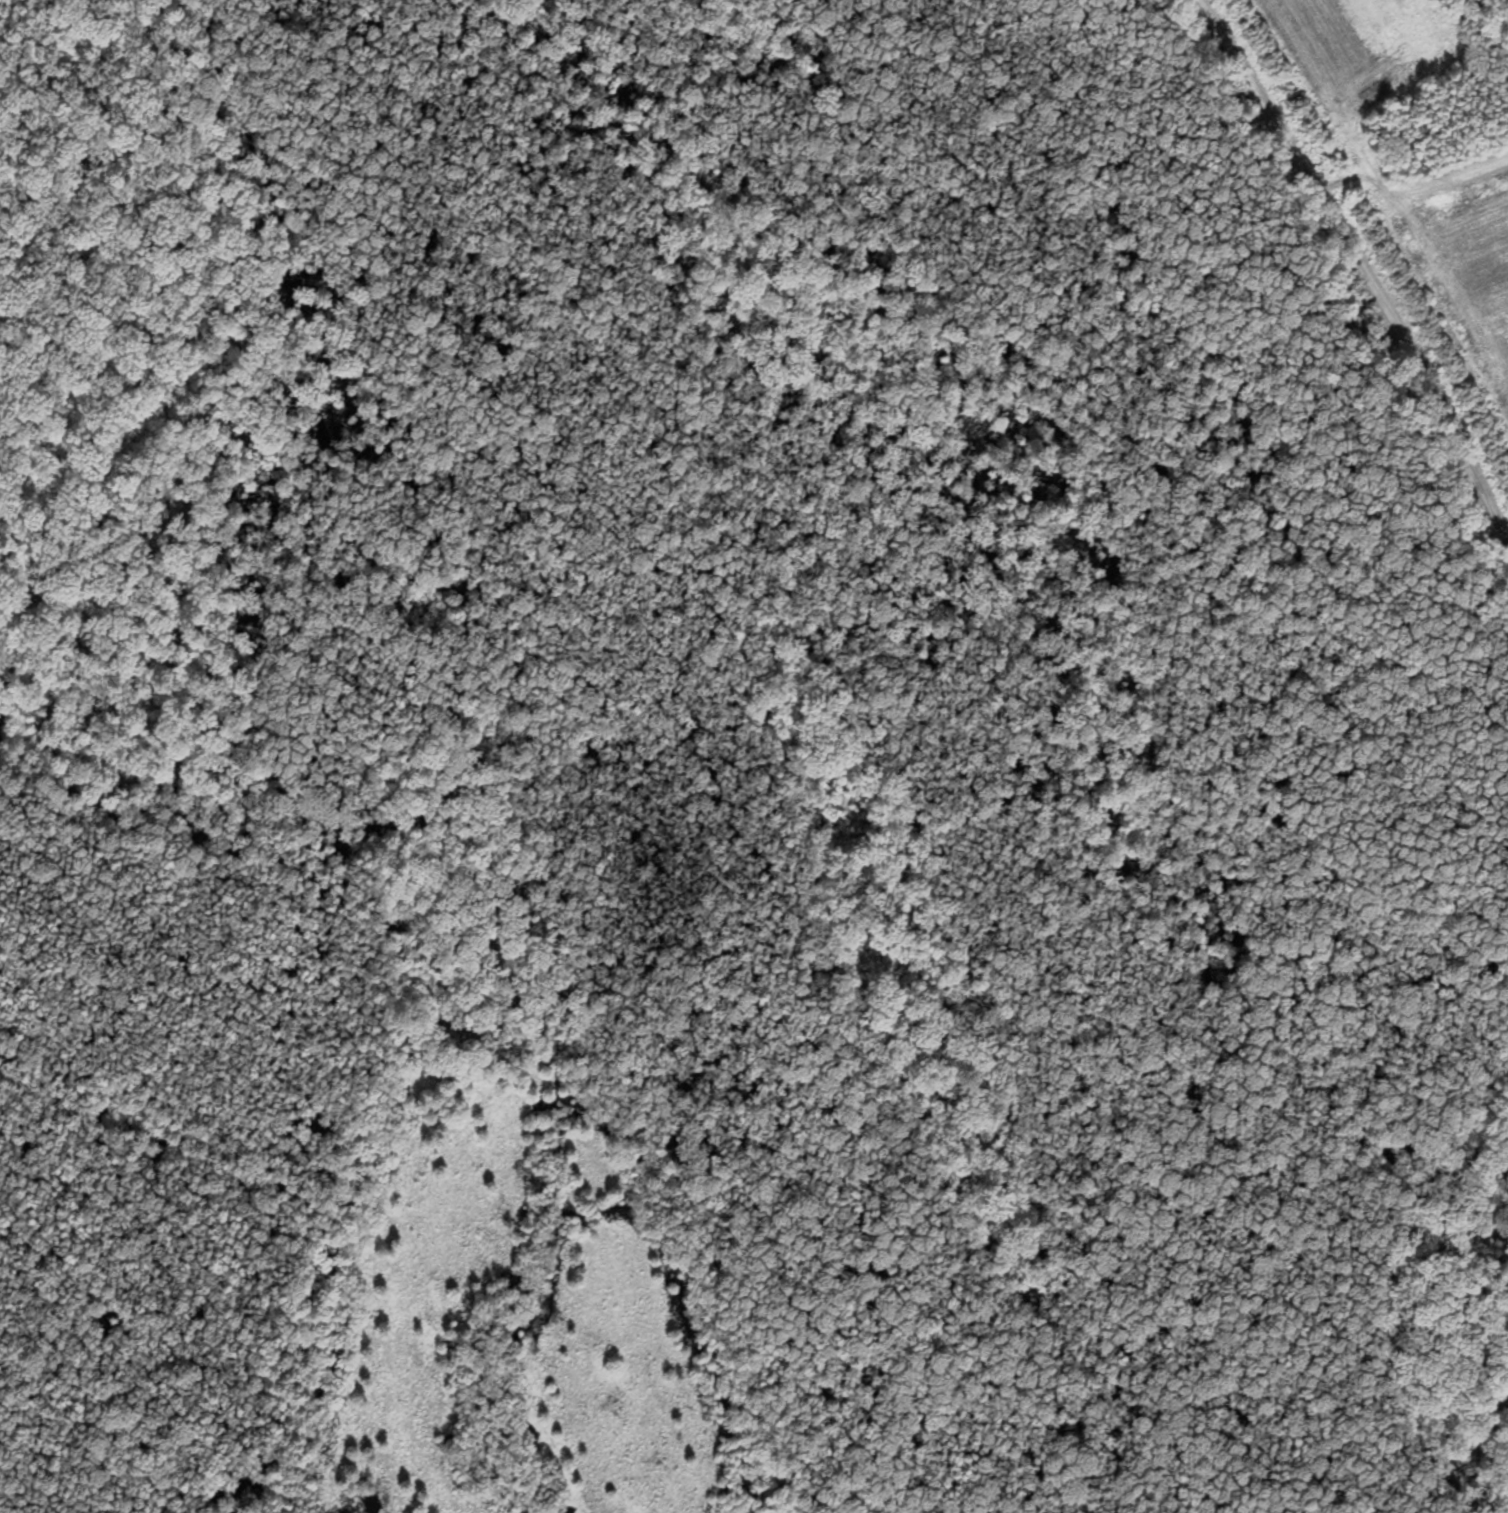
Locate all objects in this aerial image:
road: (1375, 262)

